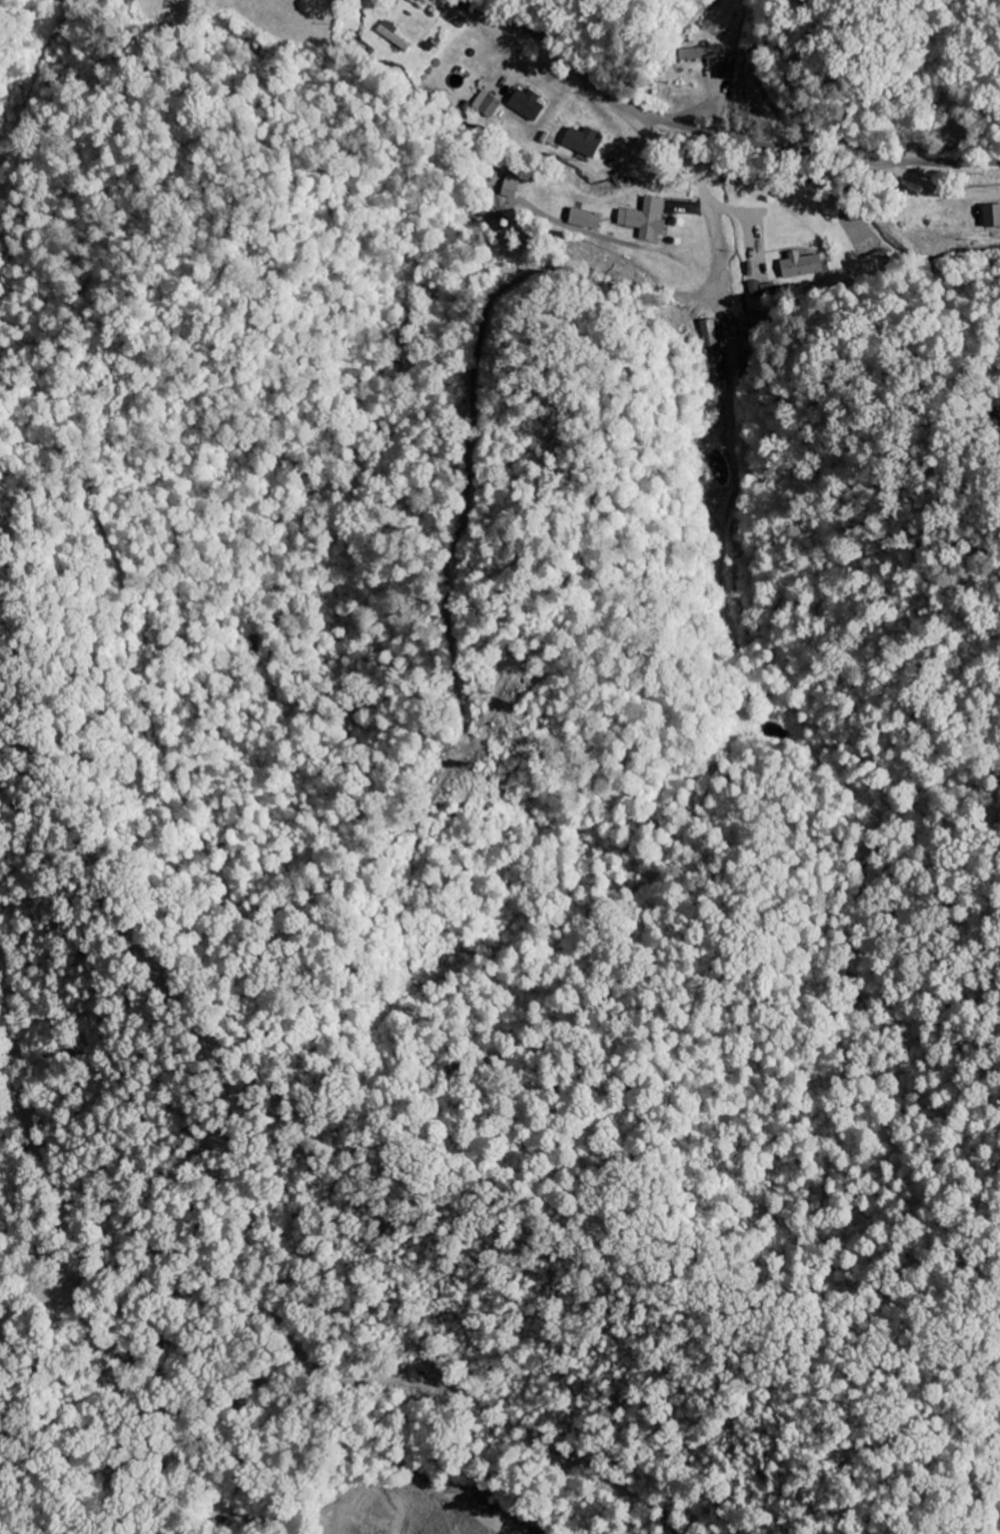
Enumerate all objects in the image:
building: (390, 35)
building: (703, 54)
building: (721, 72)
building: (486, 104)
building: (524, 104)
park: (951, 106)
road: (723, 135)
building: (580, 141)
building: (509, 186)
building: (643, 218)
building: (582, 219)
building: (798, 265)
building: (752, 288)
building: (757, 319)
building: (711, 350)

